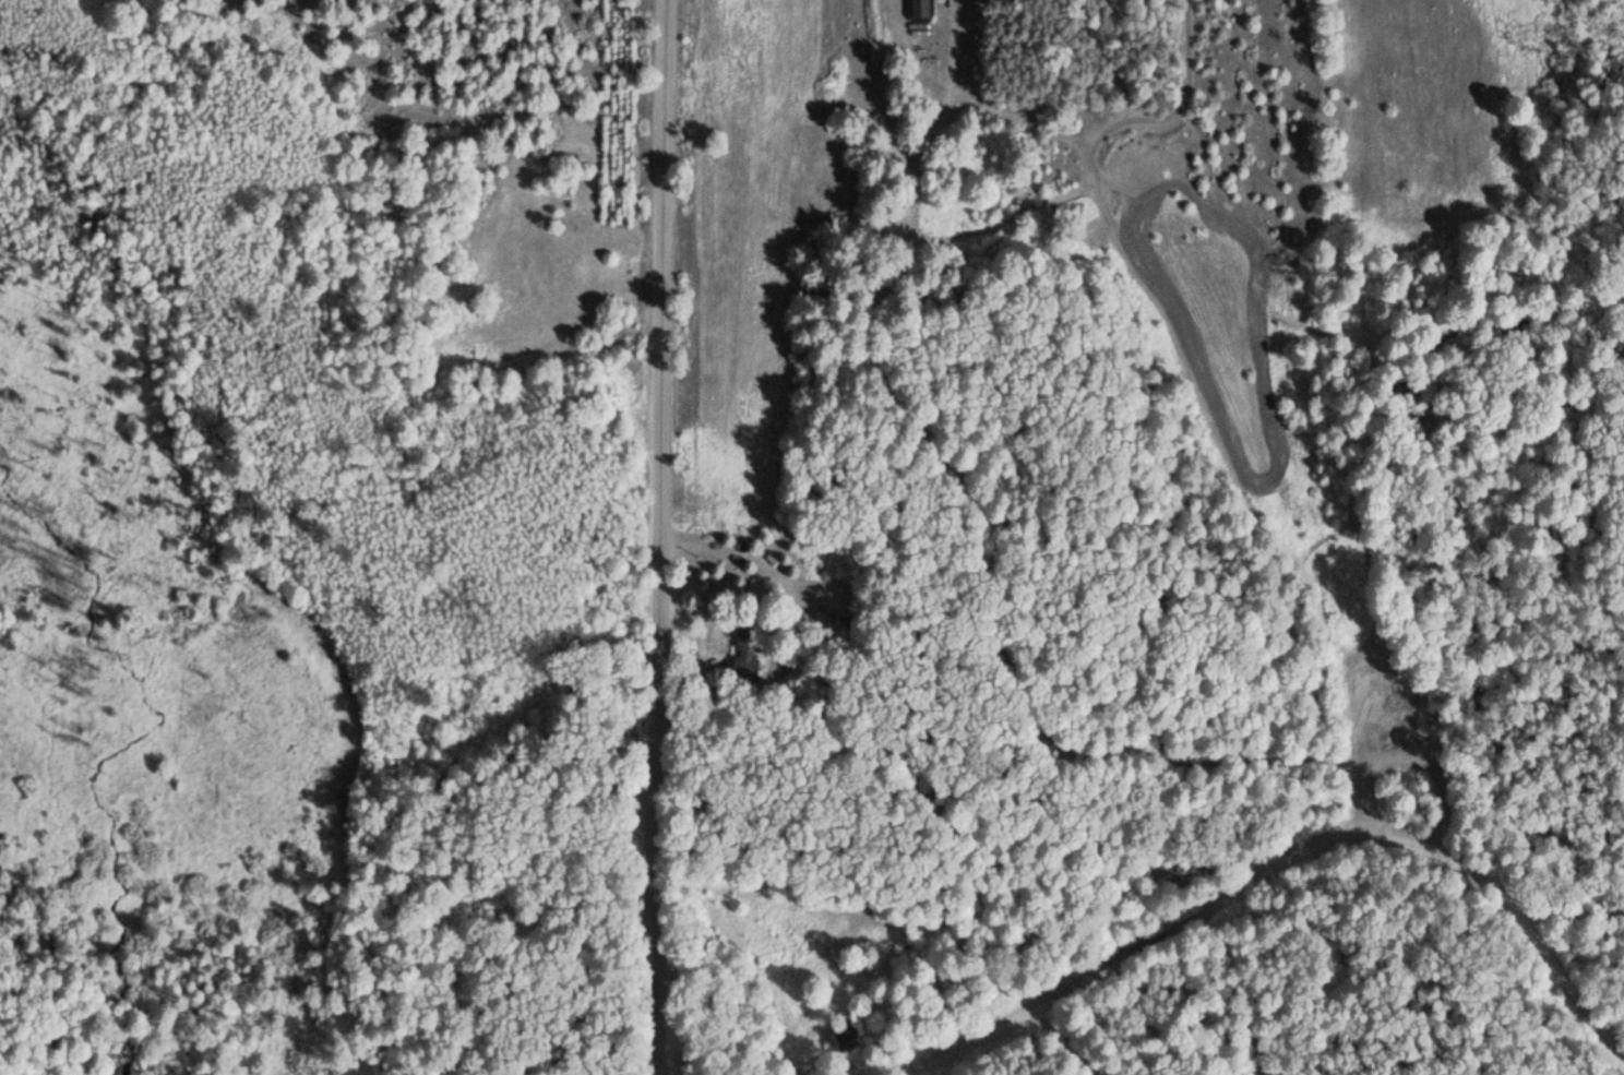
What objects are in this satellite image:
building: (918, 9)
road: (661, 537)
building: (744, 646)
road: (1273, 885)
building: (844, 1037)

